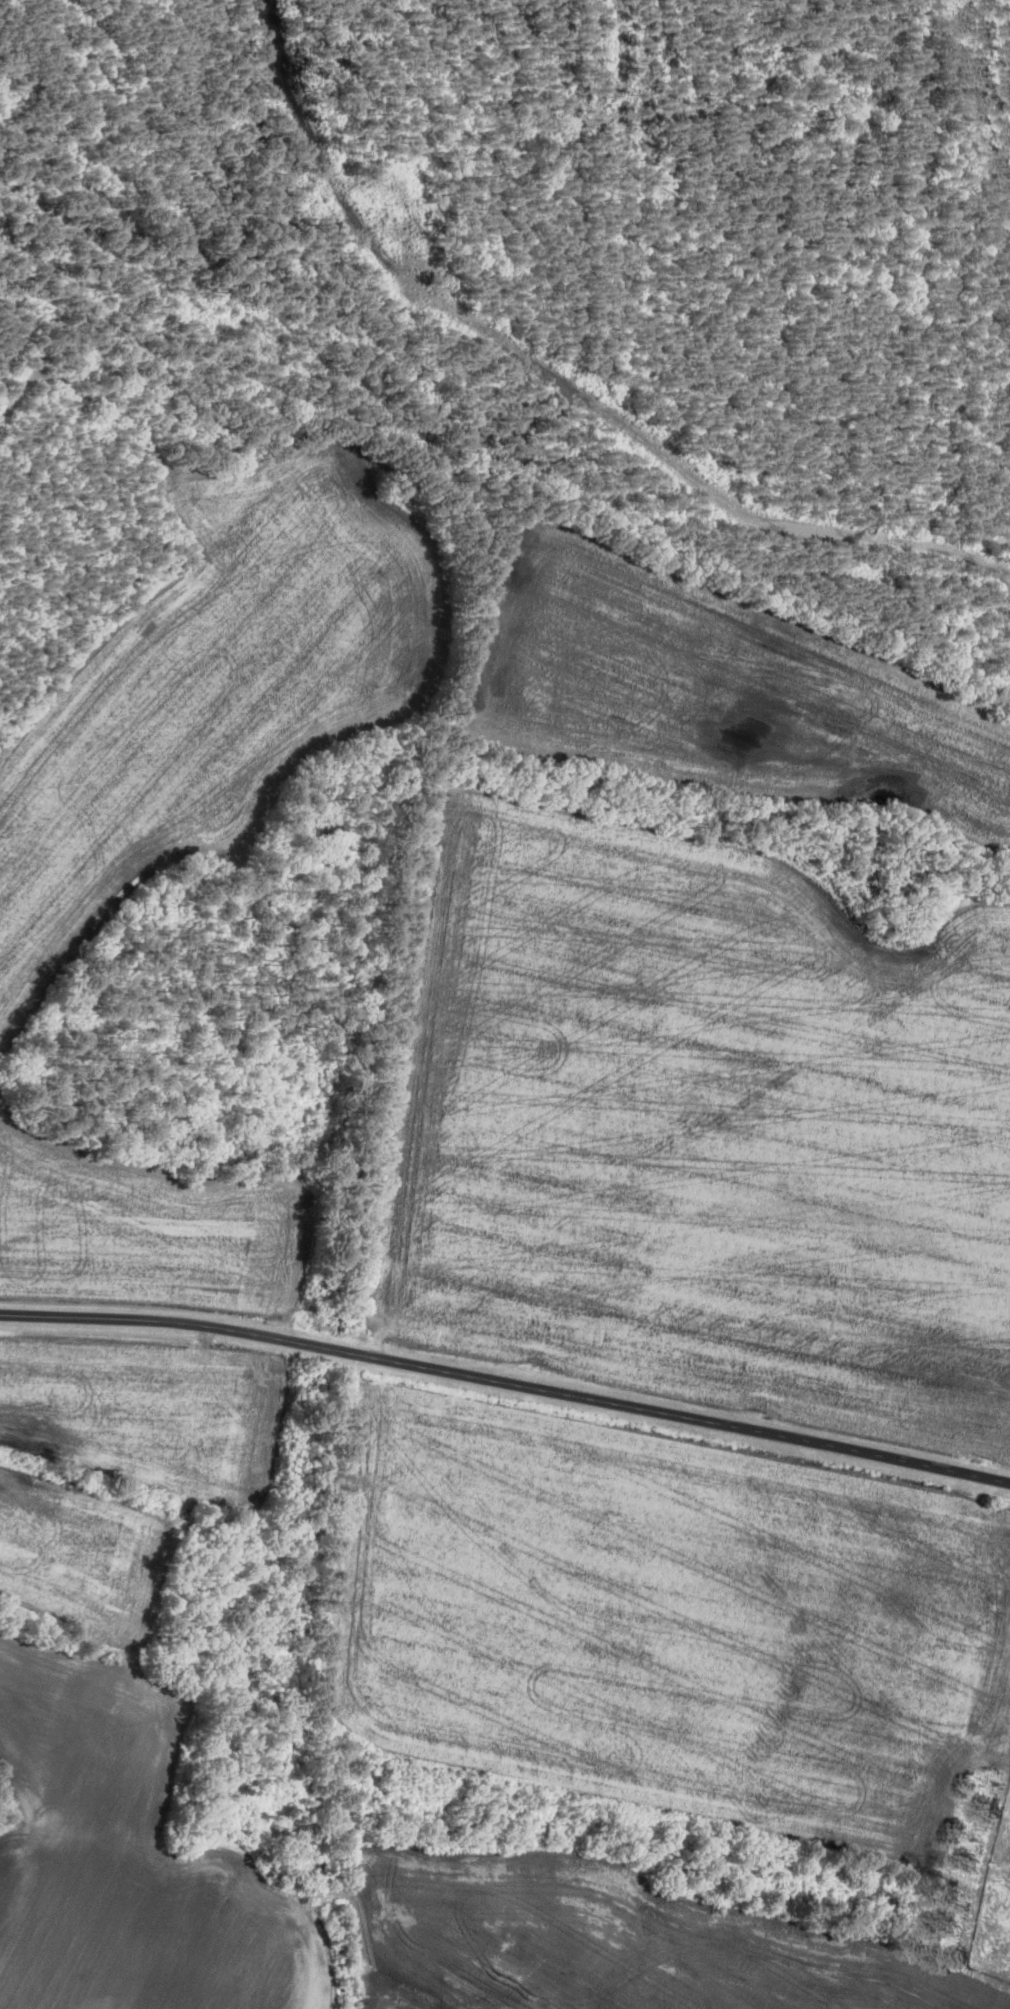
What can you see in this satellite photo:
road: (508, 1382)
road: (774, 1615)
road: (121, 1655)

